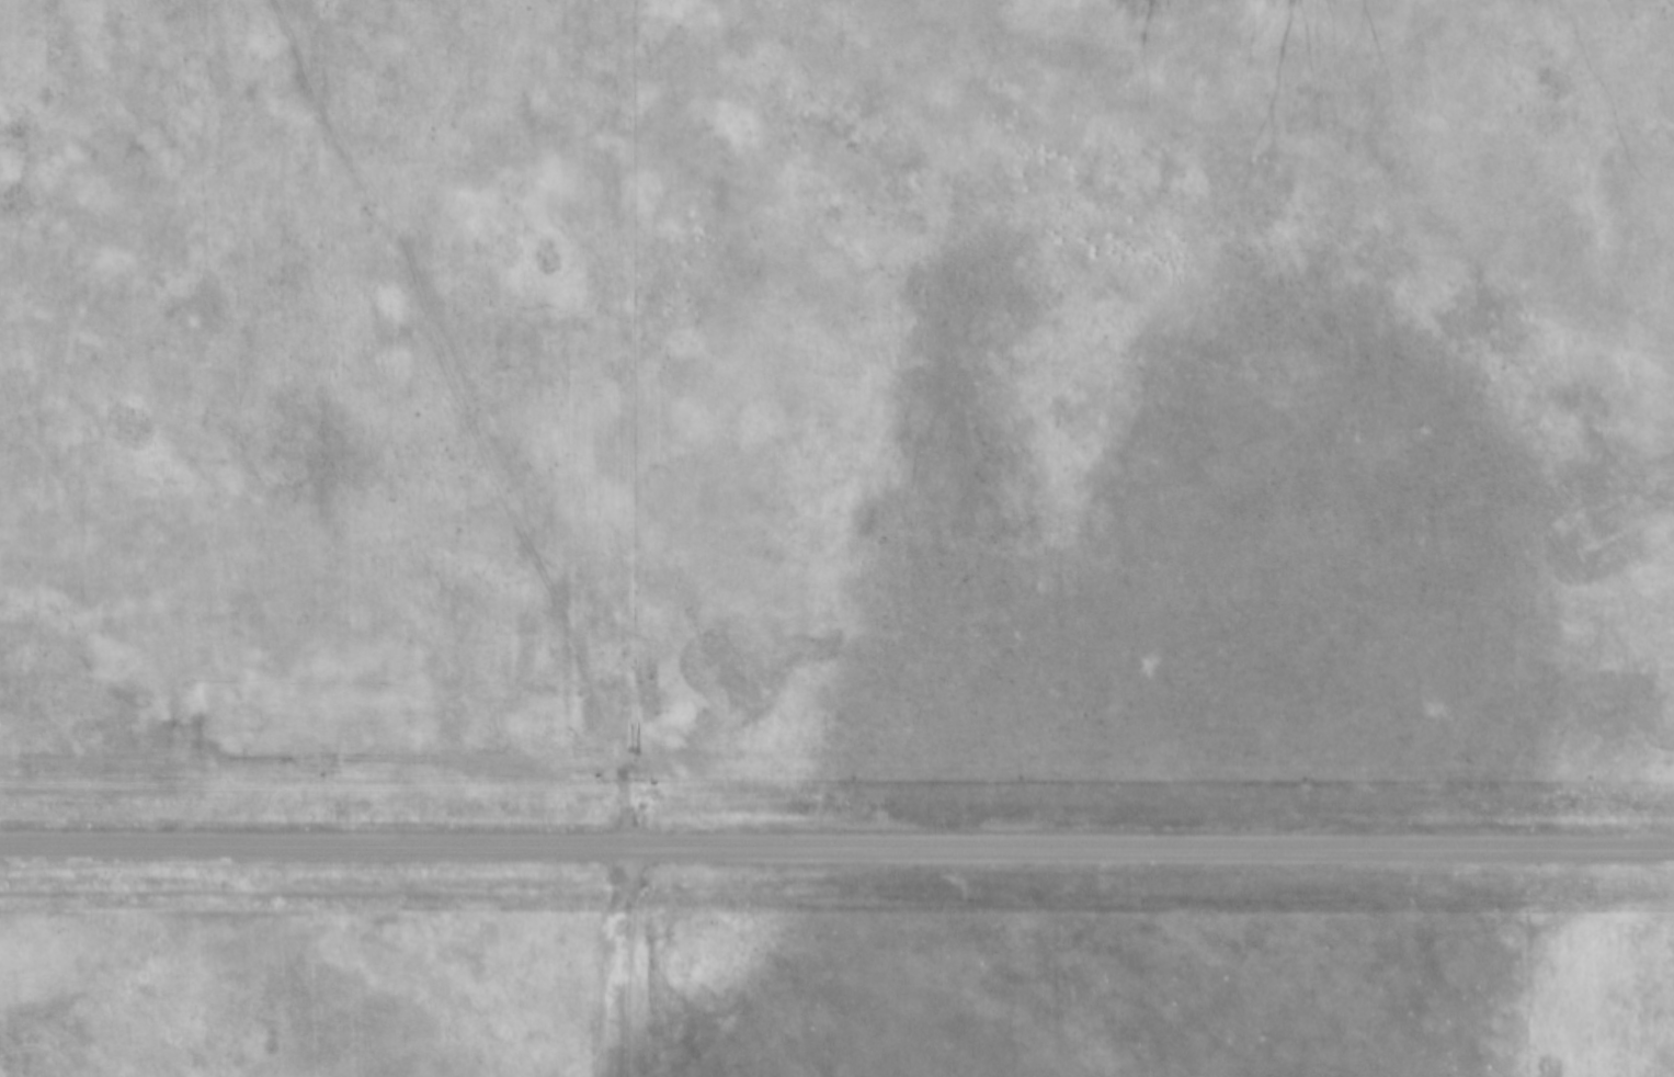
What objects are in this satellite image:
road: (836, 842)
road: (625, 929)

